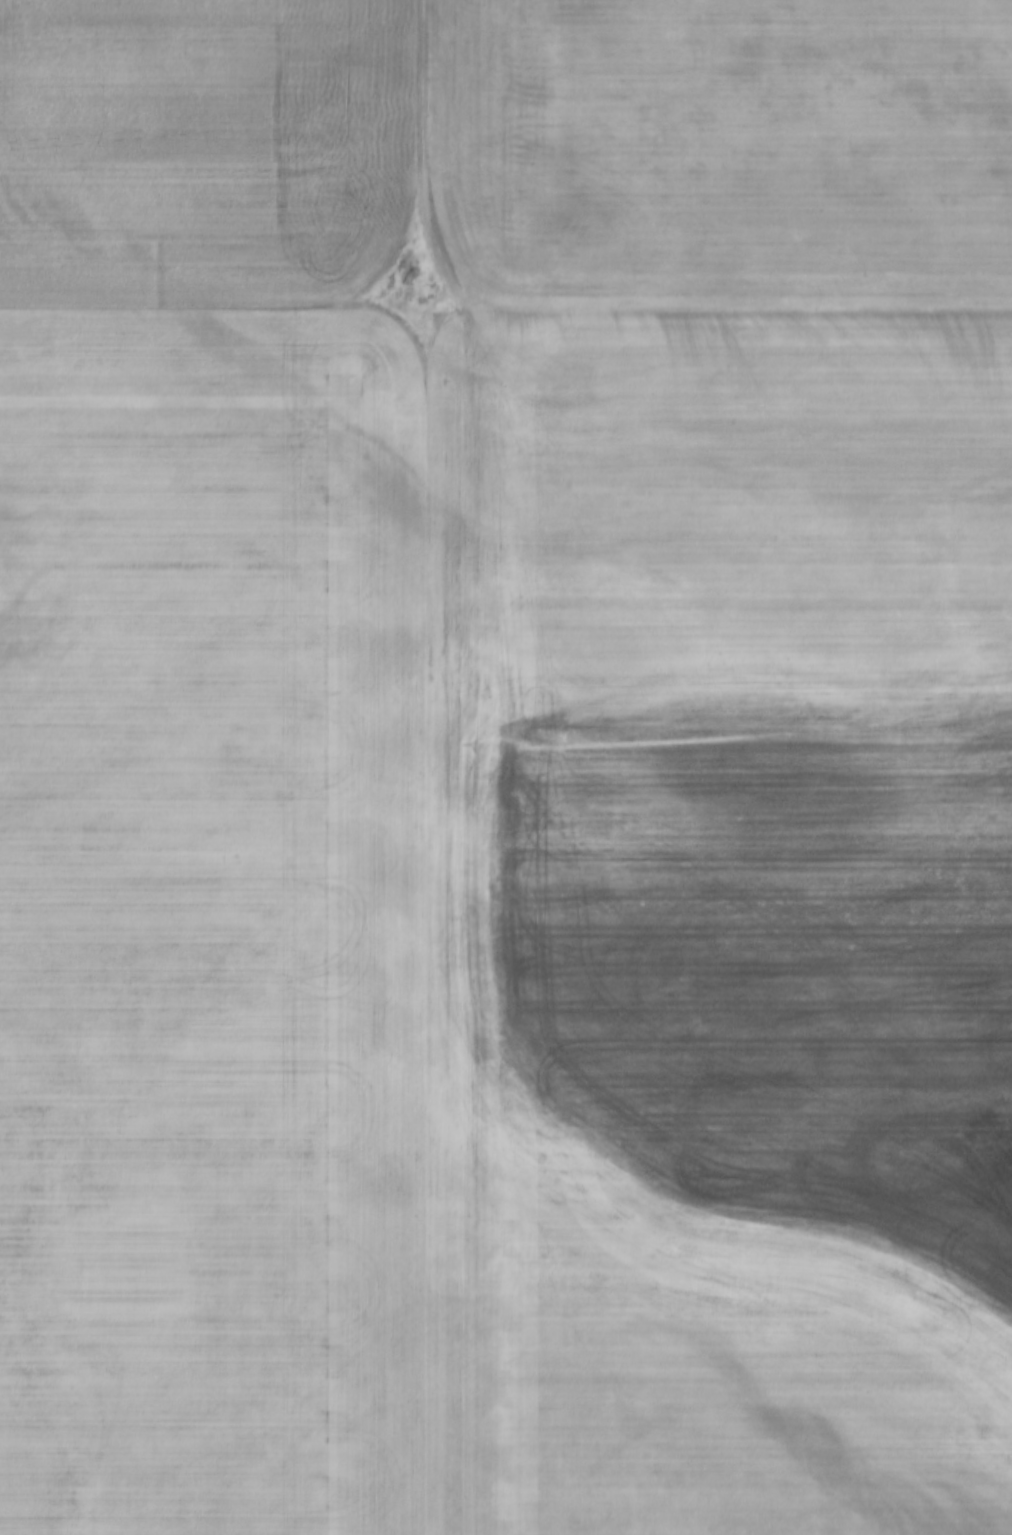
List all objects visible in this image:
road: (505, 305)
road: (424, 767)

